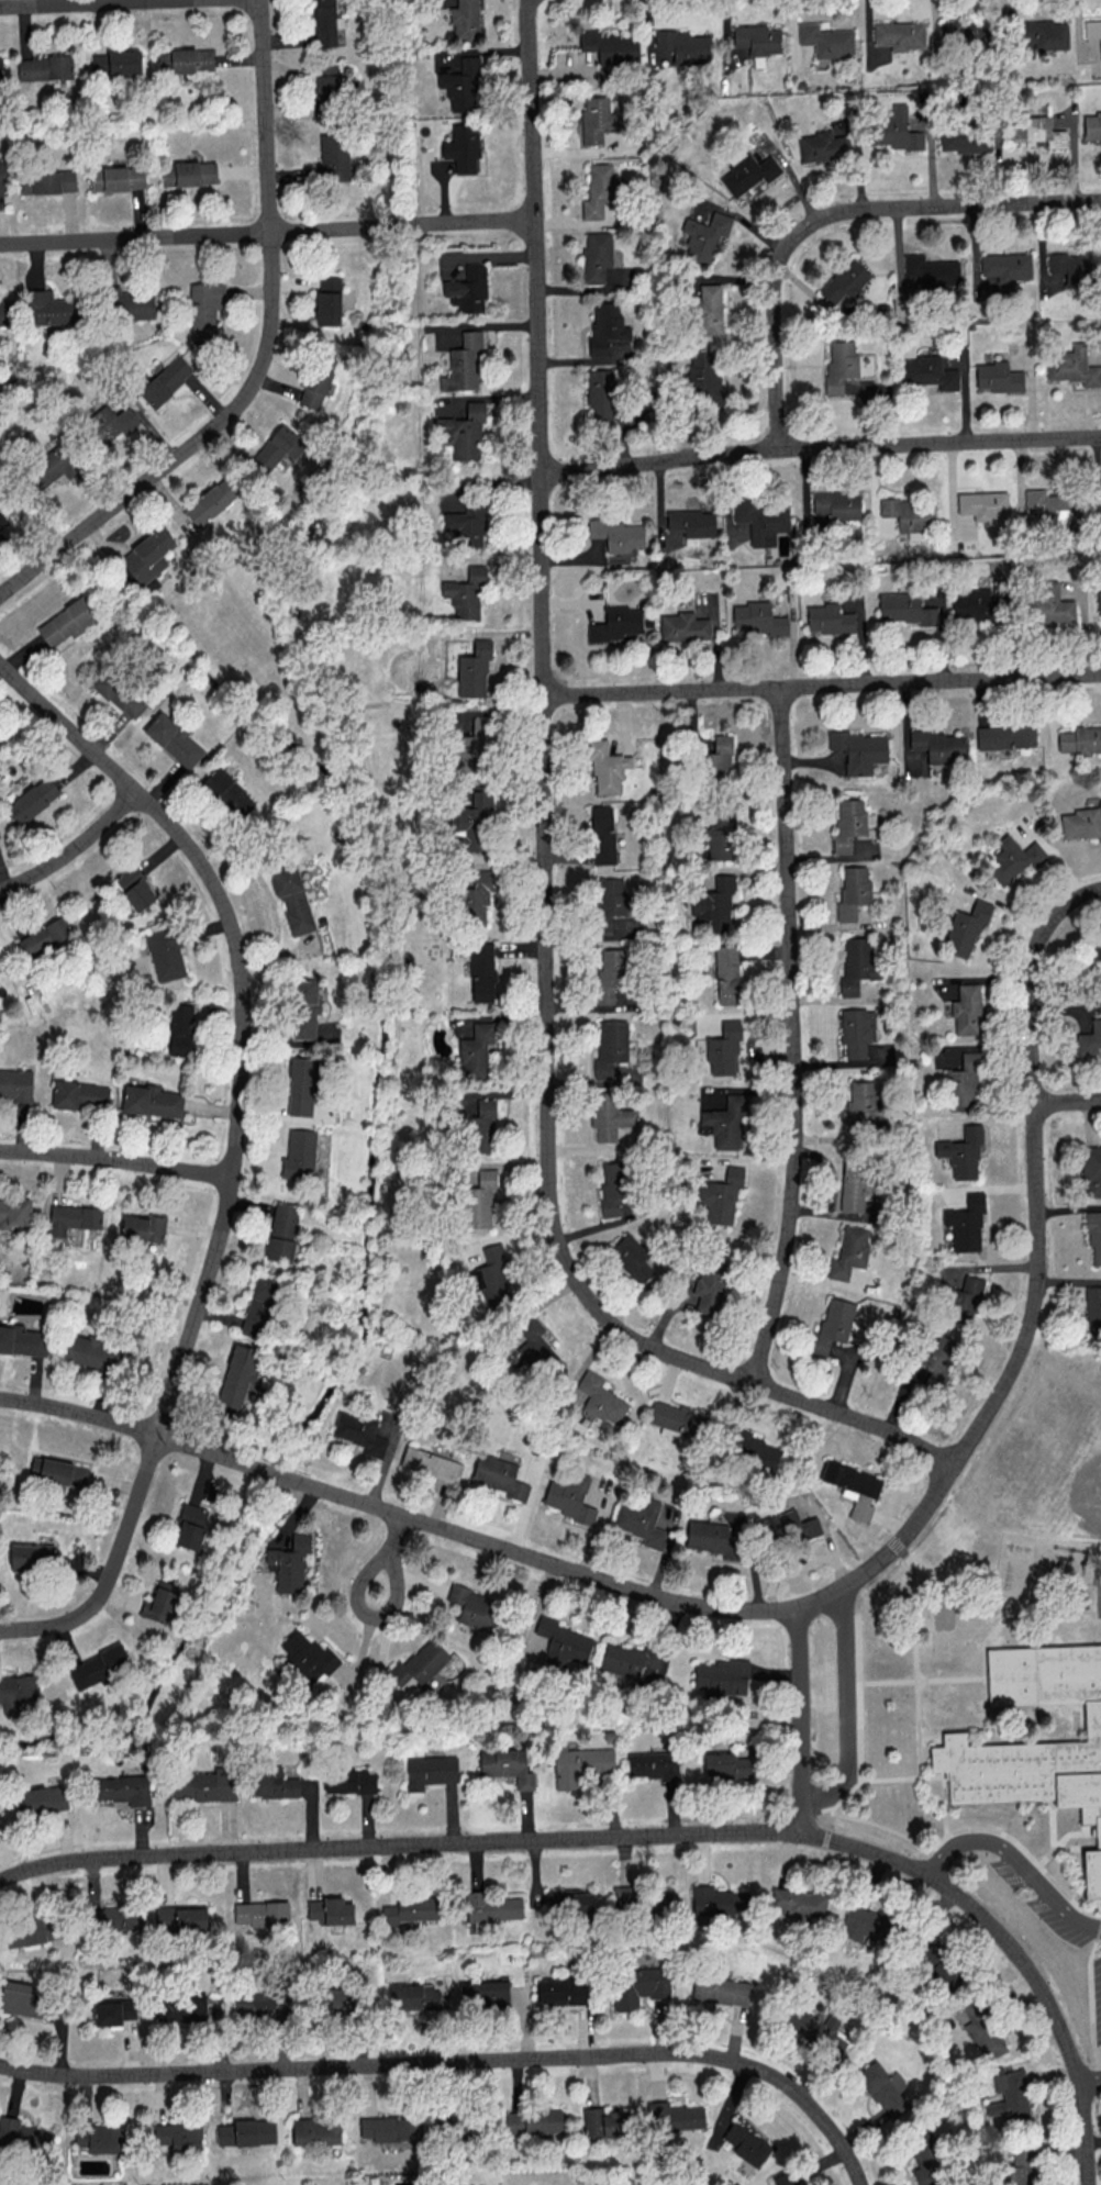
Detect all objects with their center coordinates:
road: (85, 2)
building: (465, 20)
building: (324, 22)
building: (1092, 29)
building: (965, 33)
building: (1044, 33)
building: (900, 34)
building: (757, 38)
building: (826, 40)
building: (685, 45)
building: (612, 47)
building: (186, 59)
building: (116, 62)
building: (1, 67)
building: (45, 67)
building: (463, 85)
building: (327, 87)
building: (598, 119)
building: (1092, 125)
building: (896, 130)
building: (1037, 131)
building: (965, 138)
building: (463, 146)
building: (822, 146)
building: (334, 156)
building: (189, 172)
building: (748, 172)
building: (2, 178)
building: (116, 178)
building: (48, 181)
building: (598, 190)
road: (837, 216)
road: (267, 231)
building: (704, 236)
building: (602, 263)
building: (1007, 266)
building: (1074, 268)
building: (932, 271)
building: (846, 283)
building: (468, 289)
building: (327, 300)
building: (130, 303)
building: (52, 308)
building: (5, 309)
building: (205, 310)
road: (269, 310)
building: (709, 310)
building: (608, 331)
building: (464, 364)
building: (839, 365)
building: (1072, 367)
building: (930, 371)
building: (704, 375)
building: (997, 377)
building: (166, 380)
building: (316, 382)
building: (601, 393)
building: (109, 423)
building: (461, 431)
road: (820, 447)
building: (279, 449)
building: (49, 467)
building: (210, 502)
building: (837, 504)
building: (983, 504)
building: (1053, 509)
building: (909, 513)
building: (2, 519)
building: (761, 521)
building: (691, 522)
building: (468, 523)
building: (616, 536)
road: (62, 547)
building: (148, 555)
road: (24, 576)
building: (466, 593)
building: (1099, 601)
building: (971, 602)
building: (1048, 605)
building: (905, 609)
building: (757, 618)
building: (828, 618)
building: (67, 621)
building: (615, 623)
building: (683, 626)
building: (474, 670)
road: (821, 685)
building: (119, 692)
building: (1005, 736)
building: (174, 739)
building: (1080, 739)
building: (938, 745)
building: (470, 749)
building: (858, 750)
building: (718, 757)
building: (607, 766)
building: (227, 792)
building: (32, 800)
building: (469, 823)
building: (1081, 823)
building: (602, 834)
building: (720, 837)
road: (74, 848)
road: (544, 857)
building: (1014, 859)
building: (853, 891)
building: (138, 894)
building: (611, 896)
building: (292, 899)
building: (474, 900)
building: (713, 904)
building: (966, 927)
building: (45, 936)
building: (1093, 948)
building: (165, 954)
building: (857, 965)
building: (481, 972)
building: (609, 973)
building: (726, 973)
building: (303, 1007)
road: (241, 1010)
building: (966, 1010)
building: (180, 1029)
building: (857, 1030)
road: (792, 1037)
building: (1089, 1038)
building: (611, 1046)
building: (723, 1048)
building: (476, 1049)
building: (963, 1080)
building: (16, 1084)
building: (301, 1085)
building: (80, 1094)
road: (1067, 1100)
building: (151, 1101)
building: (861, 1105)
building: (609, 1115)
building: (725, 1121)
building: (478, 1128)
building: (961, 1152)
building: (299, 1155)
road: (116, 1158)
building: (1091, 1170)
building: (852, 1185)
building: (613, 1188)
building: (720, 1195)
building: (476, 1201)
building: (14, 1212)
building: (73, 1217)
building: (966, 1223)
building: (143, 1227)
building: (282, 1231)
building: (1093, 1234)
building: (849, 1251)
building: (632, 1259)
building: (492, 1275)
building: (709, 1290)
building: (964, 1301)
building: (259, 1306)
building: (1093, 1308)
building: (833, 1325)
building: (23, 1340)
building: (536, 1347)
building: (92, 1351)
building: (935, 1362)
building: (236, 1375)
building: (601, 1398)
building: (359, 1432)
building: (755, 1449)
building: (431, 1463)
building: (58, 1471)
park: (1061, 1471)
building: (499, 1475)
building: (854, 1487)
building: (570, 1497)
building: (641, 1523)
building: (191, 1526)
building: (786, 1528)
building: (718, 1535)
road: (390, 1553)
building: (31, 1557)
building: (289, 1564)
road: (112, 1569)
road: (1098, 1576)
building: (162, 1602)
building: (475, 1607)
road: (802, 1607)
road: (993, 1632)
building: (563, 1642)
road: (914, 1653)
building: (308, 1656)
building: (626, 1659)
building: (419, 1663)
building: (98, 1665)
building: (722, 1676)
road: (923, 1680)
road: (858, 1686)
building: (16, 1692)
road: (848, 1710)
road: (801, 1721)
building: (654, 1764)
building: (727, 1764)
building: (507, 1765)
building: (580, 1765)
building: (430, 1771)
building: (351, 1781)
road: (869, 1781)
building: (271, 1783)
building: (203, 1785)
building: (1023, 1786)
building: (122, 1788)
building: (41, 1799)
road: (944, 1807)
road: (892, 1830)
road: (1068, 1831)
road: (1052, 1841)
road: (467, 1843)
road: (1075, 1848)
road: (1030, 1857)
road: (1017, 1861)
road: (947, 1889)
building: (624, 1897)
building: (718, 1900)
building: (568, 1902)
building: (660, 1902)
building: (799, 1903)
building: (492, 1906)
building: (410, 1909)
parking lot: (1052, 1909)
building: (330, 1910)
building: (262, 1913)
building: (115, 1918)
building: (181, 1919)
building: (864, 1922)
building: (32, 1930)
building: (638, 1986)
building: (721, 1989)
building: (561, 1991)
building: (483, 1994)
building: (23, 1997)
building: (335, 1997)
building: (414, 1997)
road: (1090, 1997)
building: (258, 2003)
building: (180, 2007)
building: (114, 2011)
road: (1058, 2028)
building: (981, 2029)
building: (816, 2030)
road: (457, 2062)
road: (1089, 2083)
building: (885, 2088)
building: (1009, 2097)
building: (674, 2116)
building: (535, 2120)
building: (604, 2121)
building: (389, 2128)
building: (316, 2131)
building: (245, 2132)
building: (177, 2134)
building: (23, 2137)
building: (100, 2138)
building: (746, 2144)
building: (924, 2163)
building: (1020, 2167)
building: (785, 2178)

